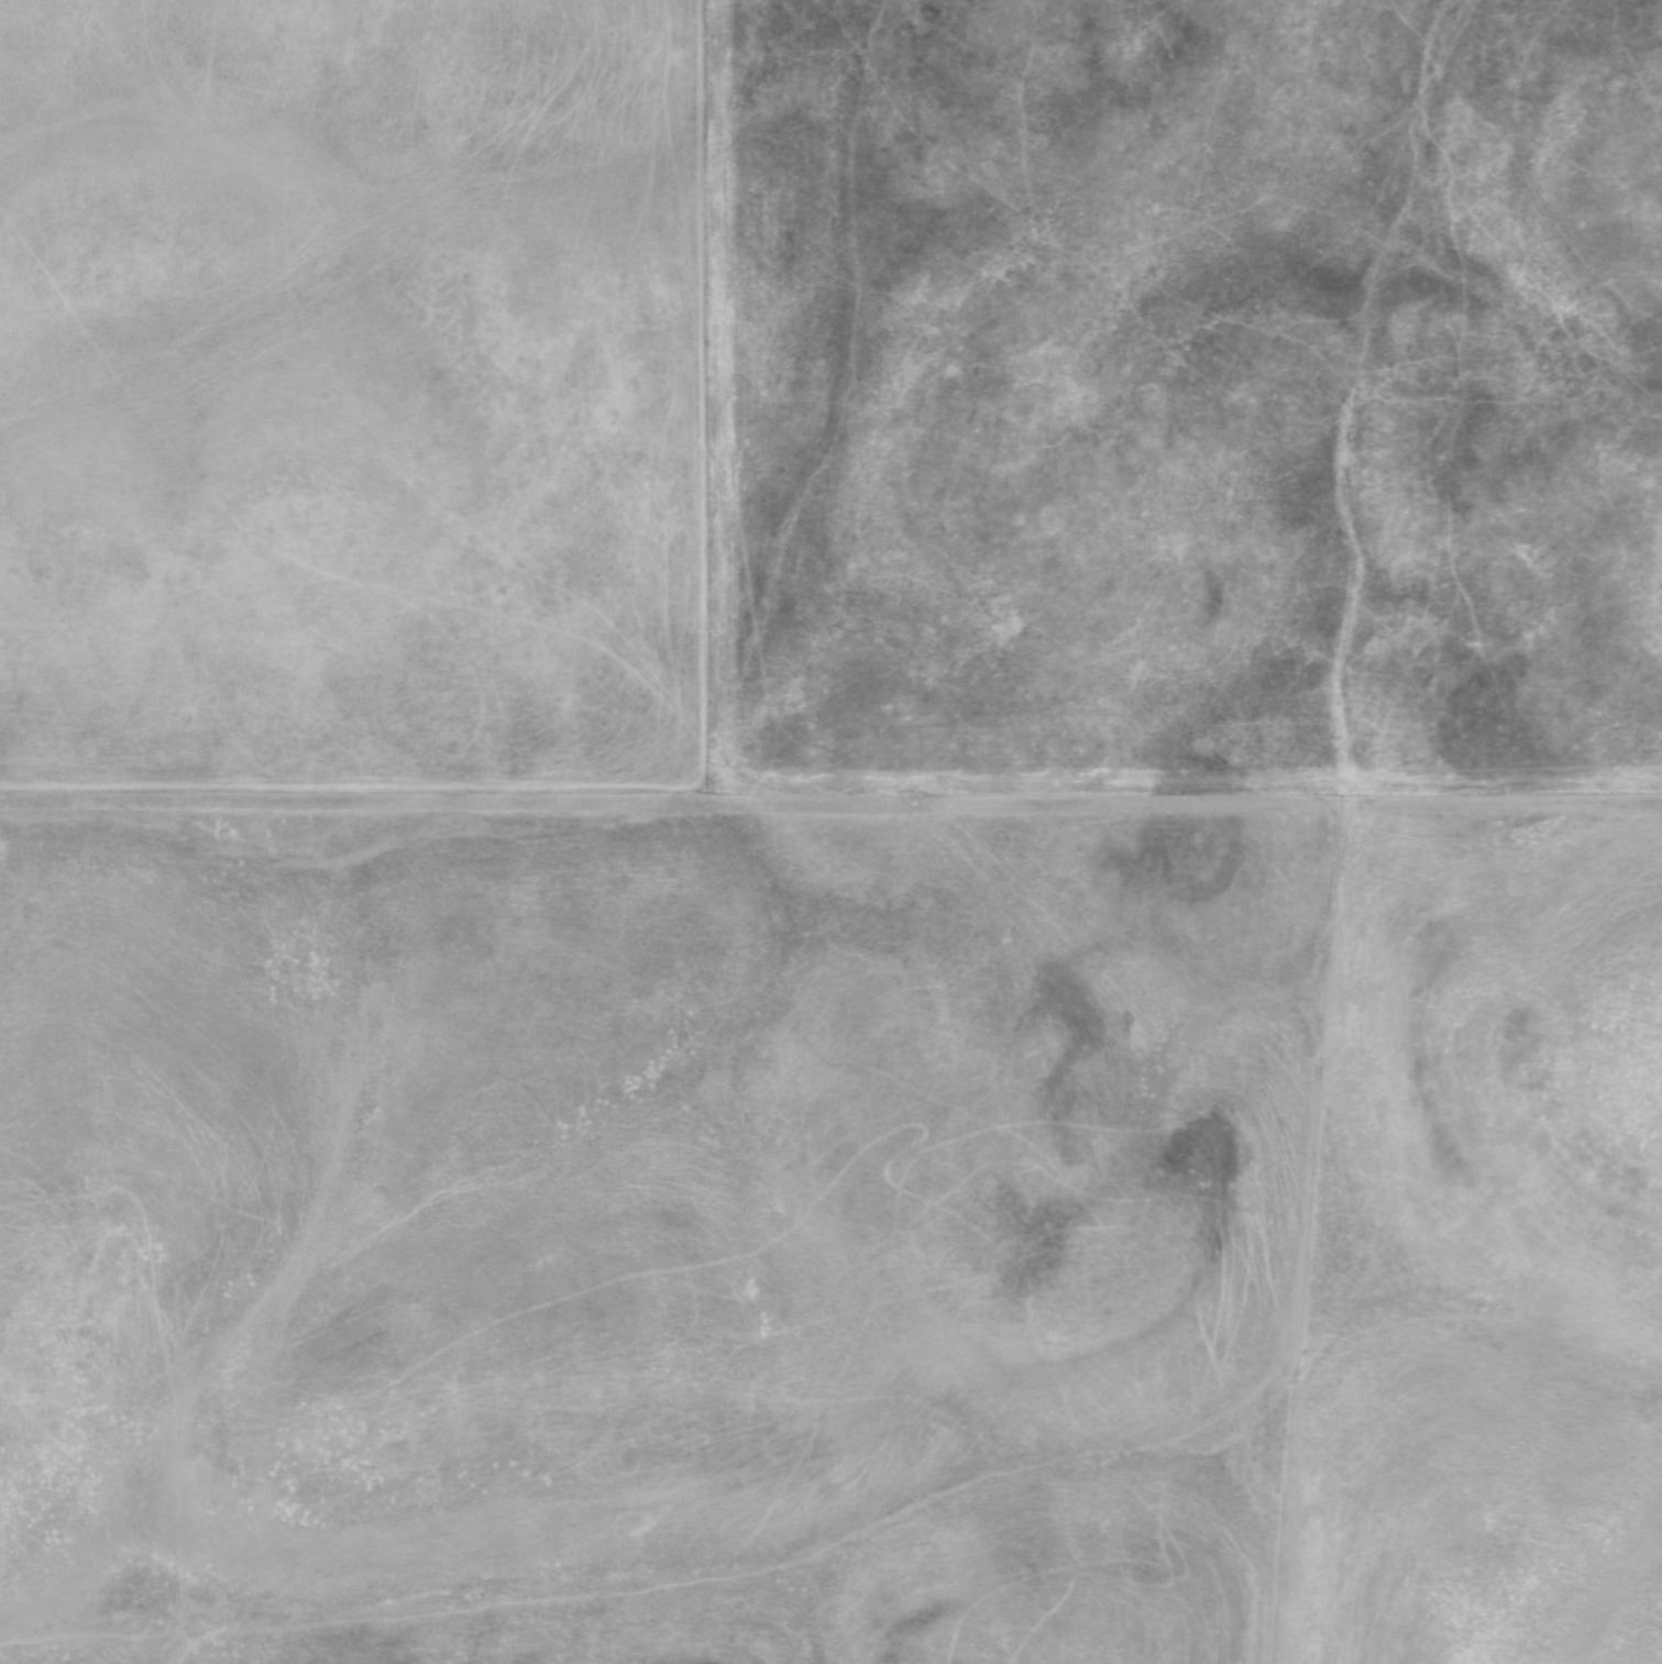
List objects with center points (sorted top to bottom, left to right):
road: (690, 776)
road: (379, 779)
road: (830, 803)

